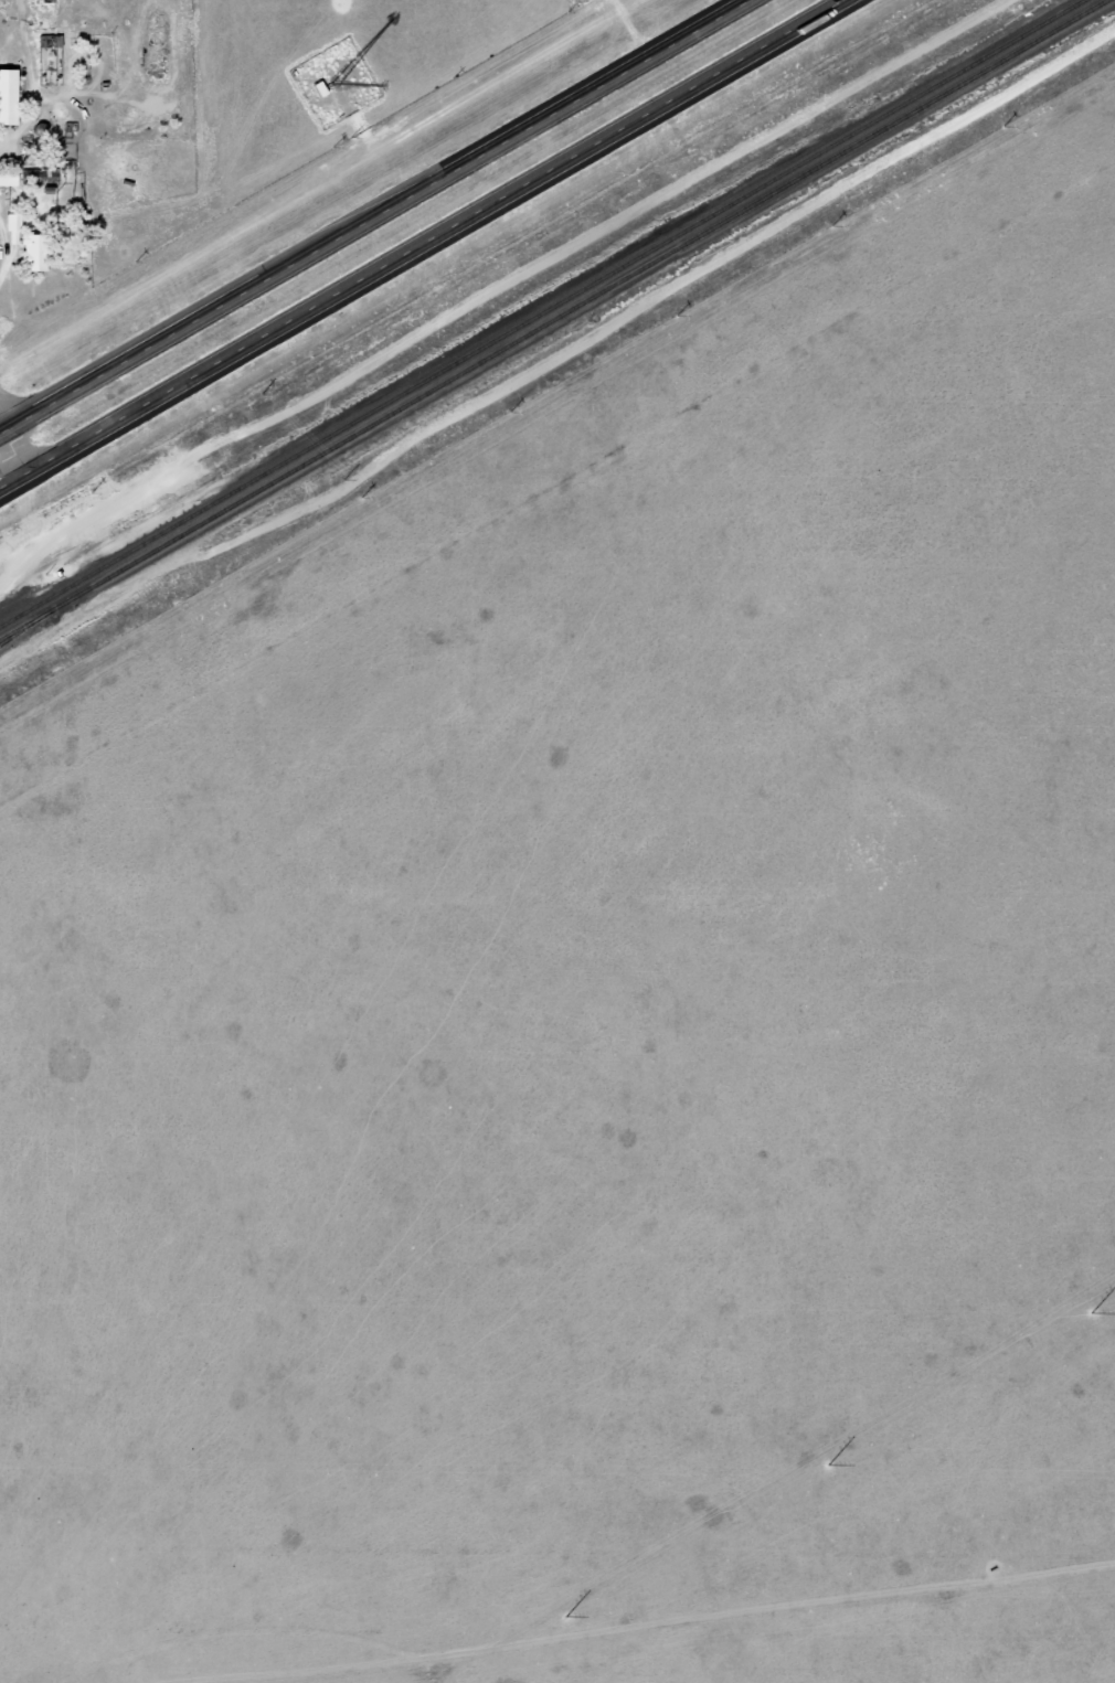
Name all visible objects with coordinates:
building: (8, 96)
building: (8, 178)
road: (373, 215)
road: (426, 244)
building: (28, 245)
railway: (540, 312)
railway: (553, 319)
road: (15, 449)
road: (1, 587)
railway: (7, 637)
power tower: (1029, 1341)
power tower: (725, 1515)

